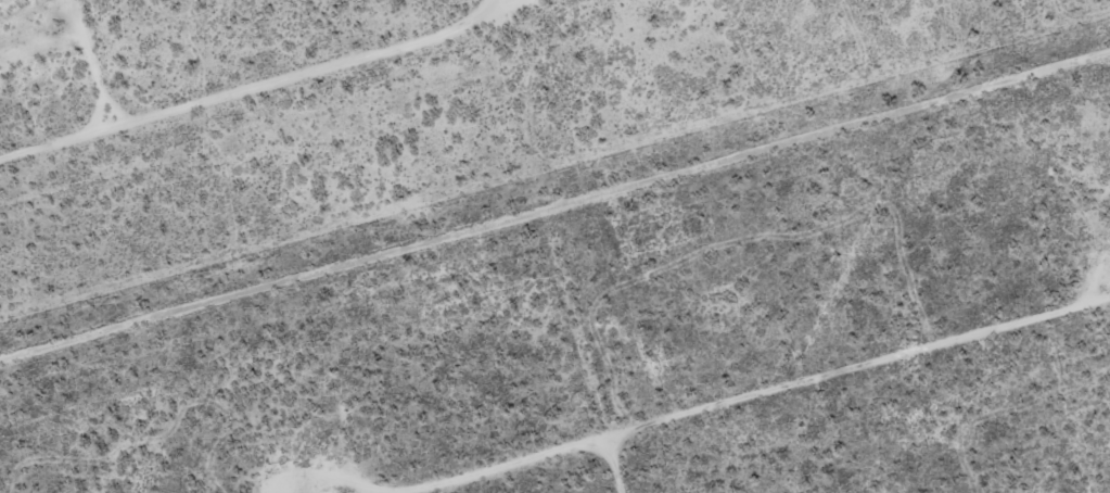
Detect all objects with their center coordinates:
road: (250, 85)
road: (556, 206)
road: (832, 370)

